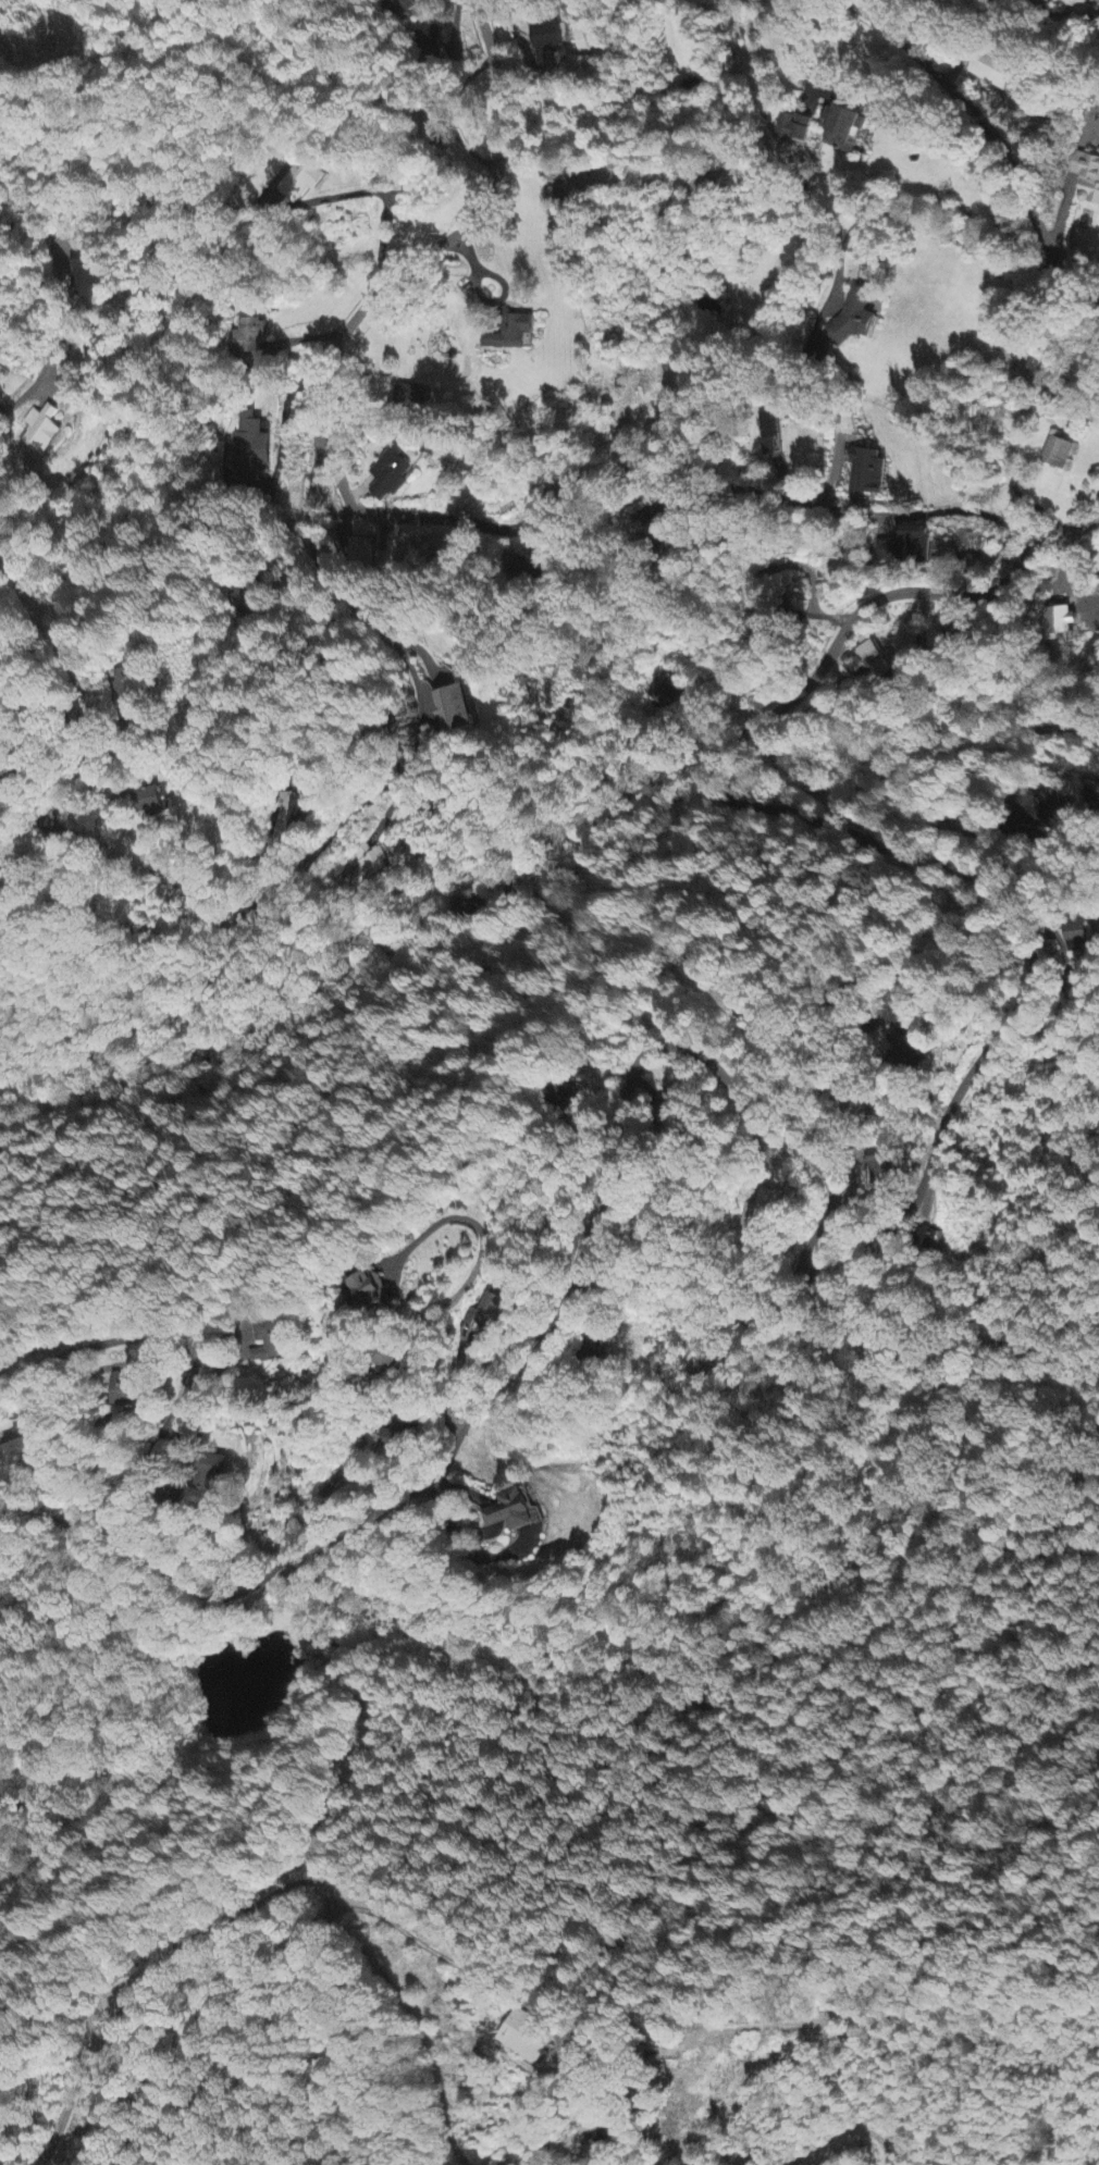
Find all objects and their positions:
building: (547, 38)
building: (995, 70)
building: (844, 129)
building: (794, 131)
road: (958, 156)
building: (302, 180)
building: (1089, 182)
road: (445, 239)
building: (94, 277)
building: (855, 317)
building: (513, 334)
building: (248, 337)
road: (49, 344)
building: (413, 394)
building: (249, 450)
building: (1058, 453)
road: (655, 473)
building: (868, 473)
building: (915, 545)
building: (955, 630)
building: (875, 658)
road: (89, 703)
building: (453, 703)
road: (919, 763)
road: (81, 797)
building: (153, 802)
road: (349, 826)
road: (51, 842)
building: (1082, 936)
road: (755, 1048)
road: (842, 1087)
road: (481, 1259)
road: (854, 1261)
road: (1045, 1285)
building: (365, 1290)
building: (489, 1314)
building: (269, 1344)
road: (188, 1351)
building: (125, 1391)
building: (395, 1435)
road: (358, 1446)
building: (513, 1511)
road: (282, 1886)
building: (526, 2036)
road: (843, 2133)

